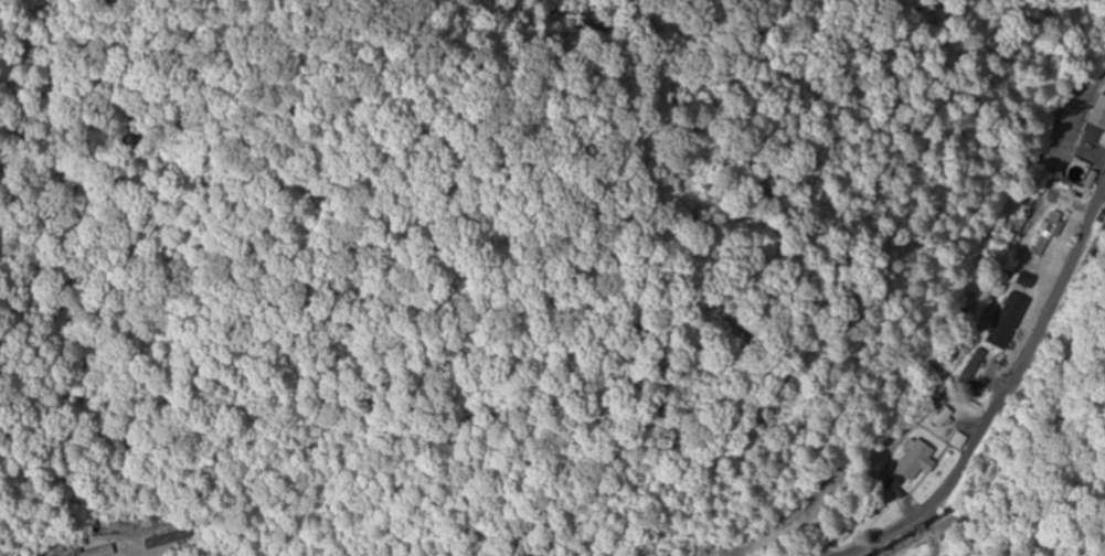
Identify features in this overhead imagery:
building: (1096, 118)
building: (1076, 172)
building: (1049, 233)
building: (1007, 321)
road: (999, 364)
building: (968, 366)
building: (914, 460)

